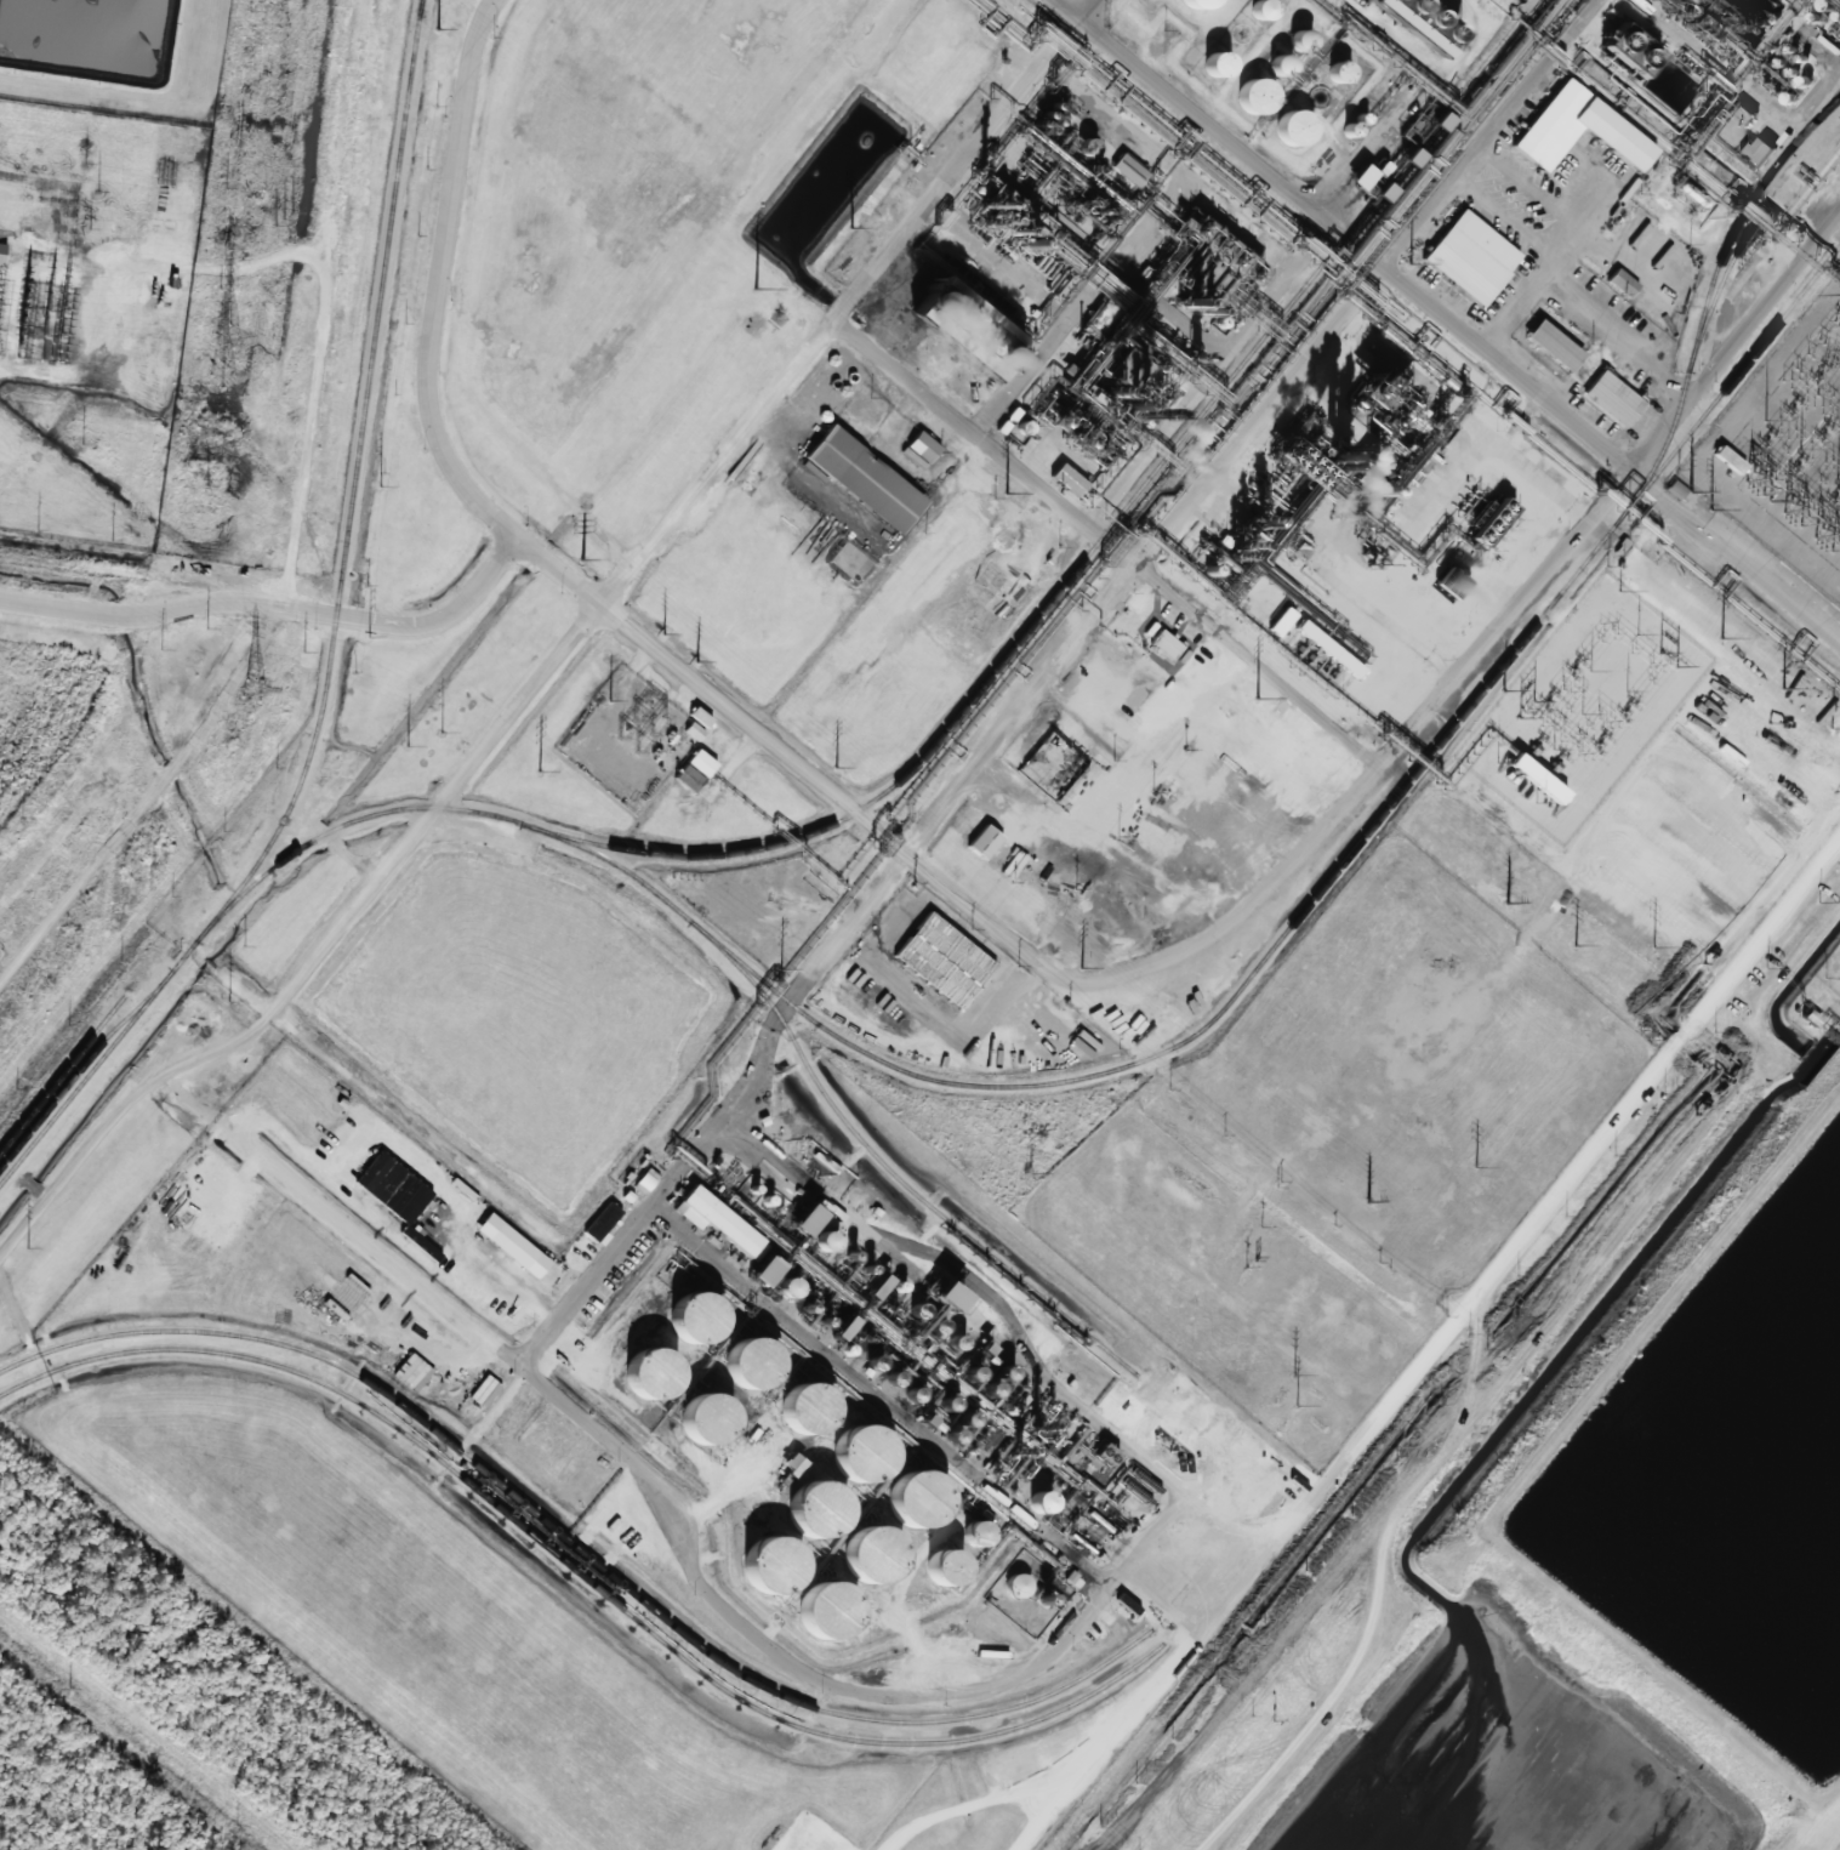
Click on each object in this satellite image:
building: (1189, 4)
storage tank: (1189, 4)
railway: (418, 11)
building: (1630, 50)
building: (1247, 96)
storage tank: (1247, 96)
building: (1733, 124)
building: (1286, 127)
storage tank: (1286, 127)
building: (1608, 130)
railway: (1805, 136)
building: (1756, 152)
building: (1361, 177)
road: (1140, 237)
building: (2, 252)
building: (1468, 252)
road: (432, 277)
building: (1622, 283)
railway: (1717, 288)
power substation: (91, 313)
road: (1448, 320)
building: (967, 329)
power tower: (227, 338)
building: (1548, 343)
road: (1736, 343)
road: (306, 371)
railway: (1736, 372)
power tower: (222, 376)
building: (1608, 393)
road: (1248, 429)
building: (919, 442)
power substation: (1784, 451)
building: (859, 473)
railway: (354, 478)
helipad: (1460, 518)
building: (1491, 522)
railway: (1098, 542)
road: (330, 616)
building: (1166, 644)
road: (563, 650)
power tower: (252, 688)
power substation: (1582, 707)
power substation: (628, 739)
building: (695, 770)
building: (1537, 779)
road: (144, 793)
building: (979, 837)
road: (818, 951)
building: (942, 954)
road: (1156, 957)
railway: (1060, 1081)
railway: (889, 1171)
building: (393, 1188)
building: (717, 1220)
building: (807, 1220)
building: (603, 1222)
building: (513, 1245)
building: (765, 1270)
building: (933, 1285)
building: (347, 1294)
building: (947, 1297)
building: (685, 1322)
storage tank: (685, 1322)
building: (741, 1368)
storage tank: (741, 1368)
building: (640, 1379)
storage tank: (640, 1379)
building: (1189, 1391)
building: (796, 1417)
storage tank: (796, 1417)
building: (694, 1425)
storage tank: (694, 1425)
building: (850, 1459)
storage tank: (850, 1459)
building: (1041, 1502)
building: (906, 1505)
storage tank: (906, 1505)
building: (804, 1516)
storage tank: (804, 1516)
railway: (577, 1547)
building: (860, 1561)
storage tank: (860, 1561)
building: (945, 1567)
building: (763, 1570)
storage tank: (763, 1570)
railway: (580, 1573)
building: (1018, 1586)
road: (1070, 1609)
building: (815, 1618)
storage tank: (815, 1618)

